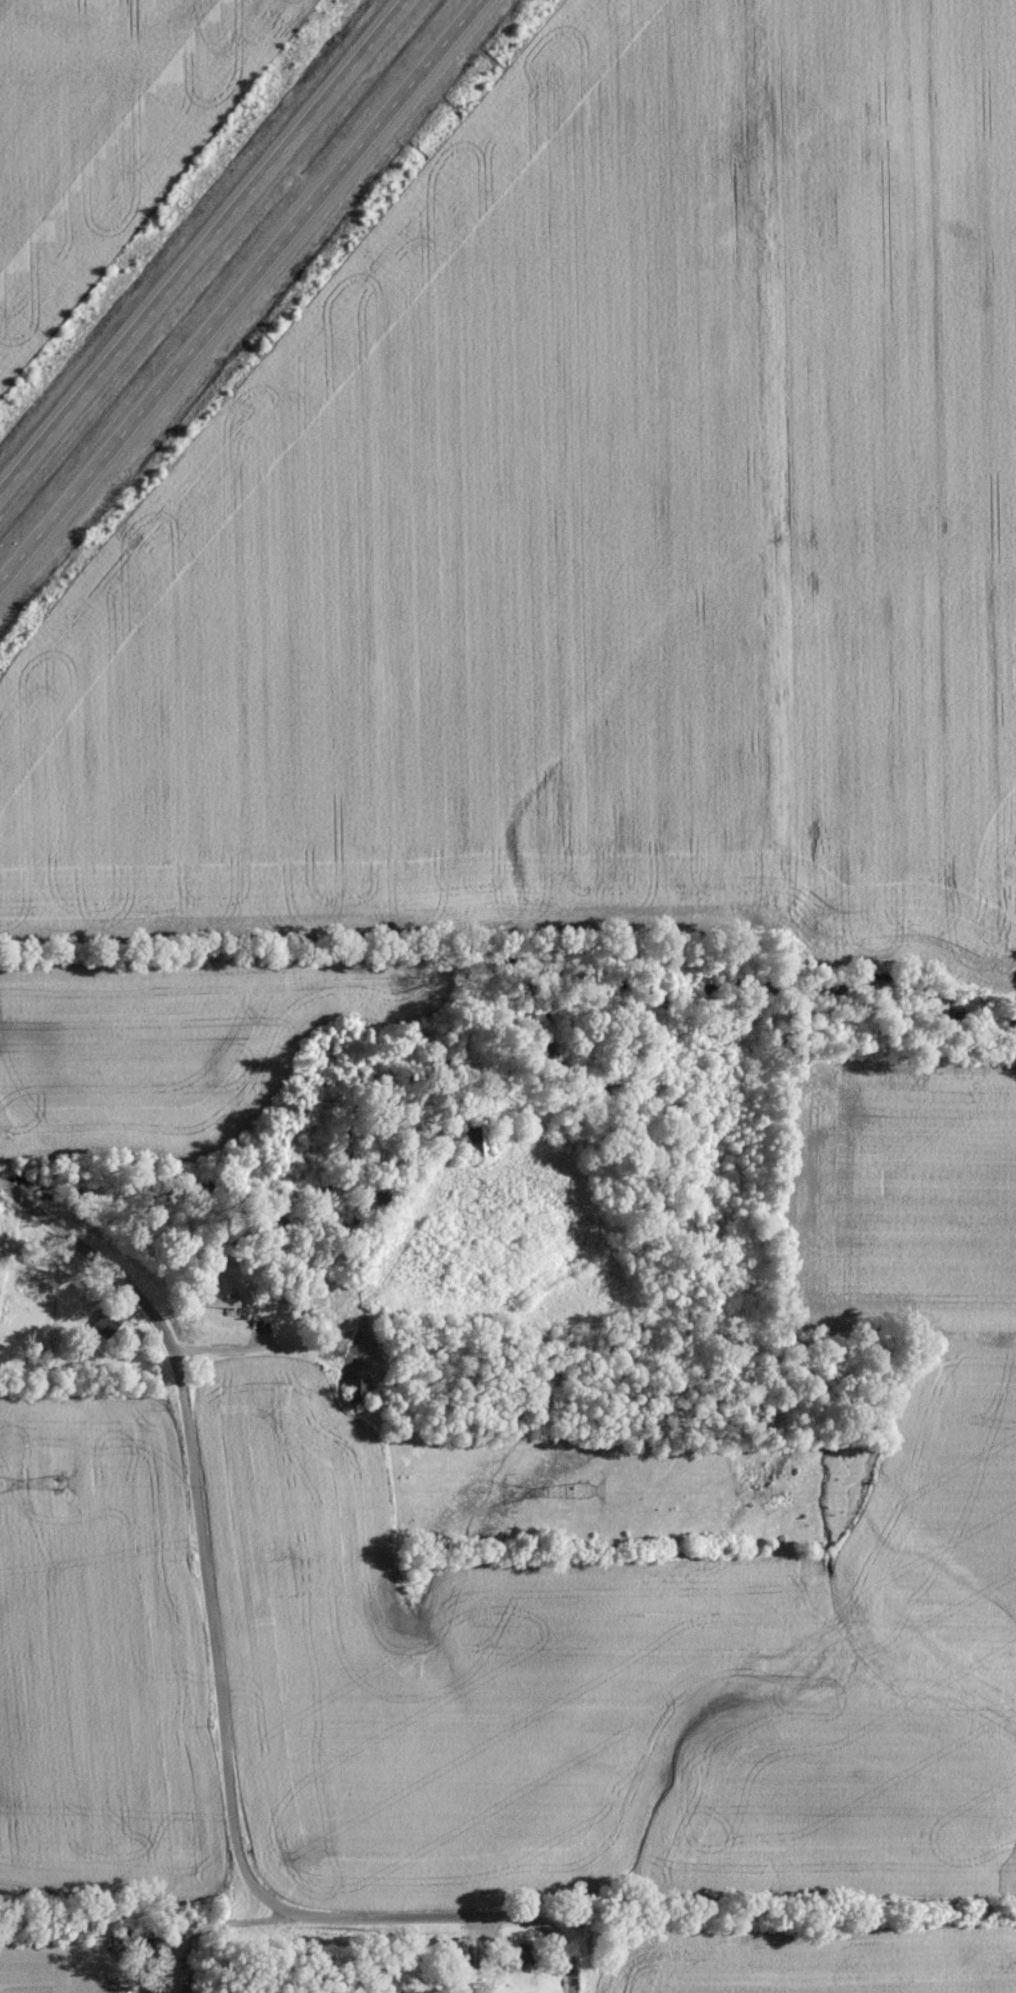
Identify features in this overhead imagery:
road: (207, 255)
road: (244, 298)
building: (475, 1143)
building: (220, 1308)
road: (223, 1352)
power tower: (58, 1488)
power tower: (582, 1494)
road: (214, 1688)

